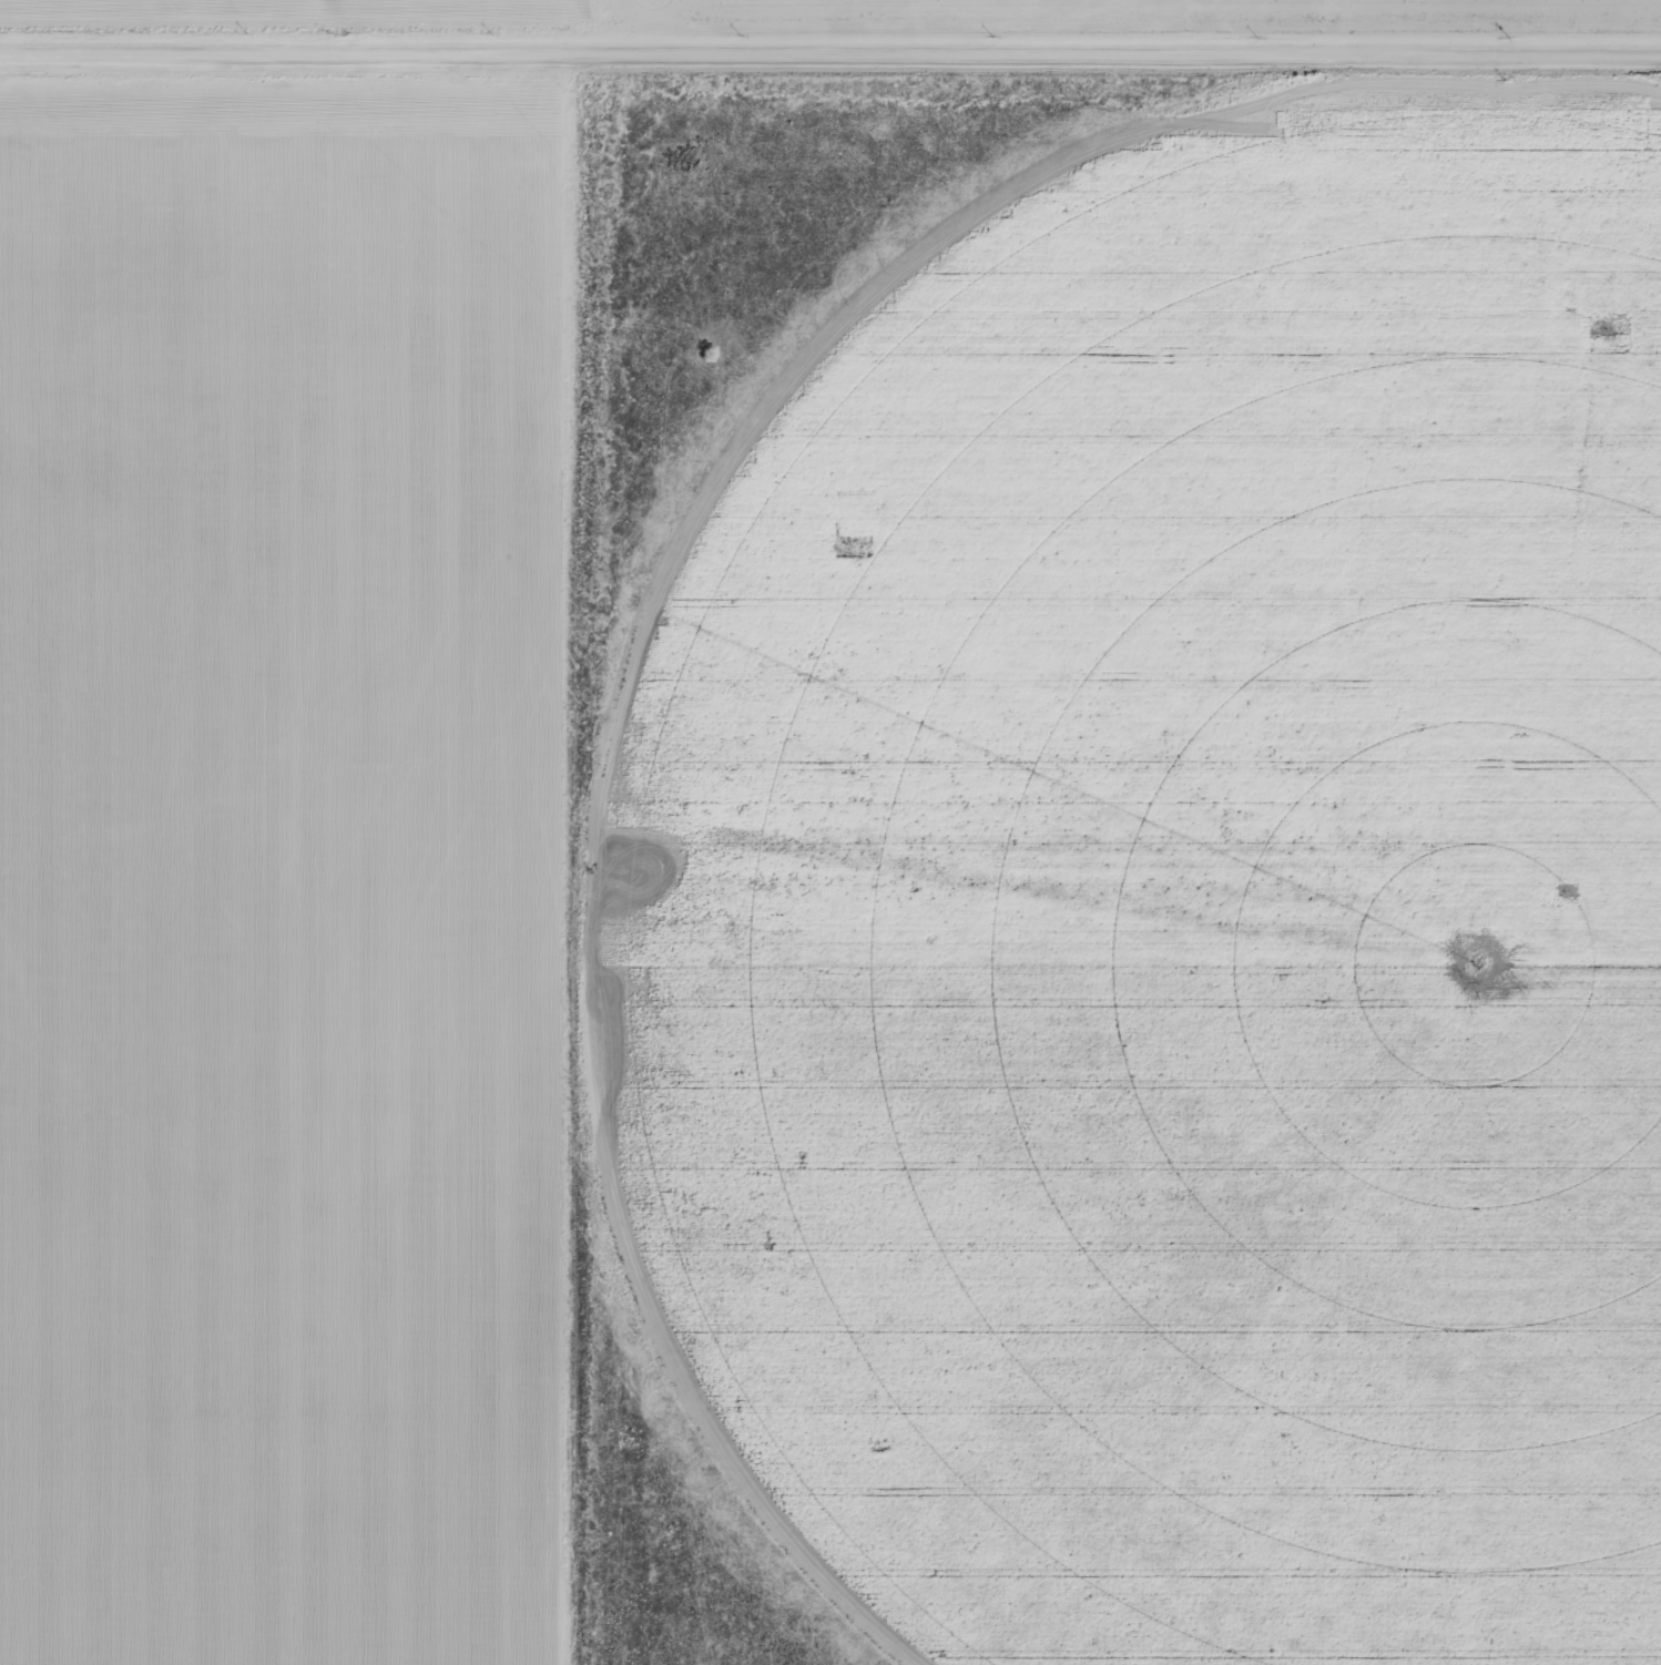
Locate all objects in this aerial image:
road: (830, 18)

